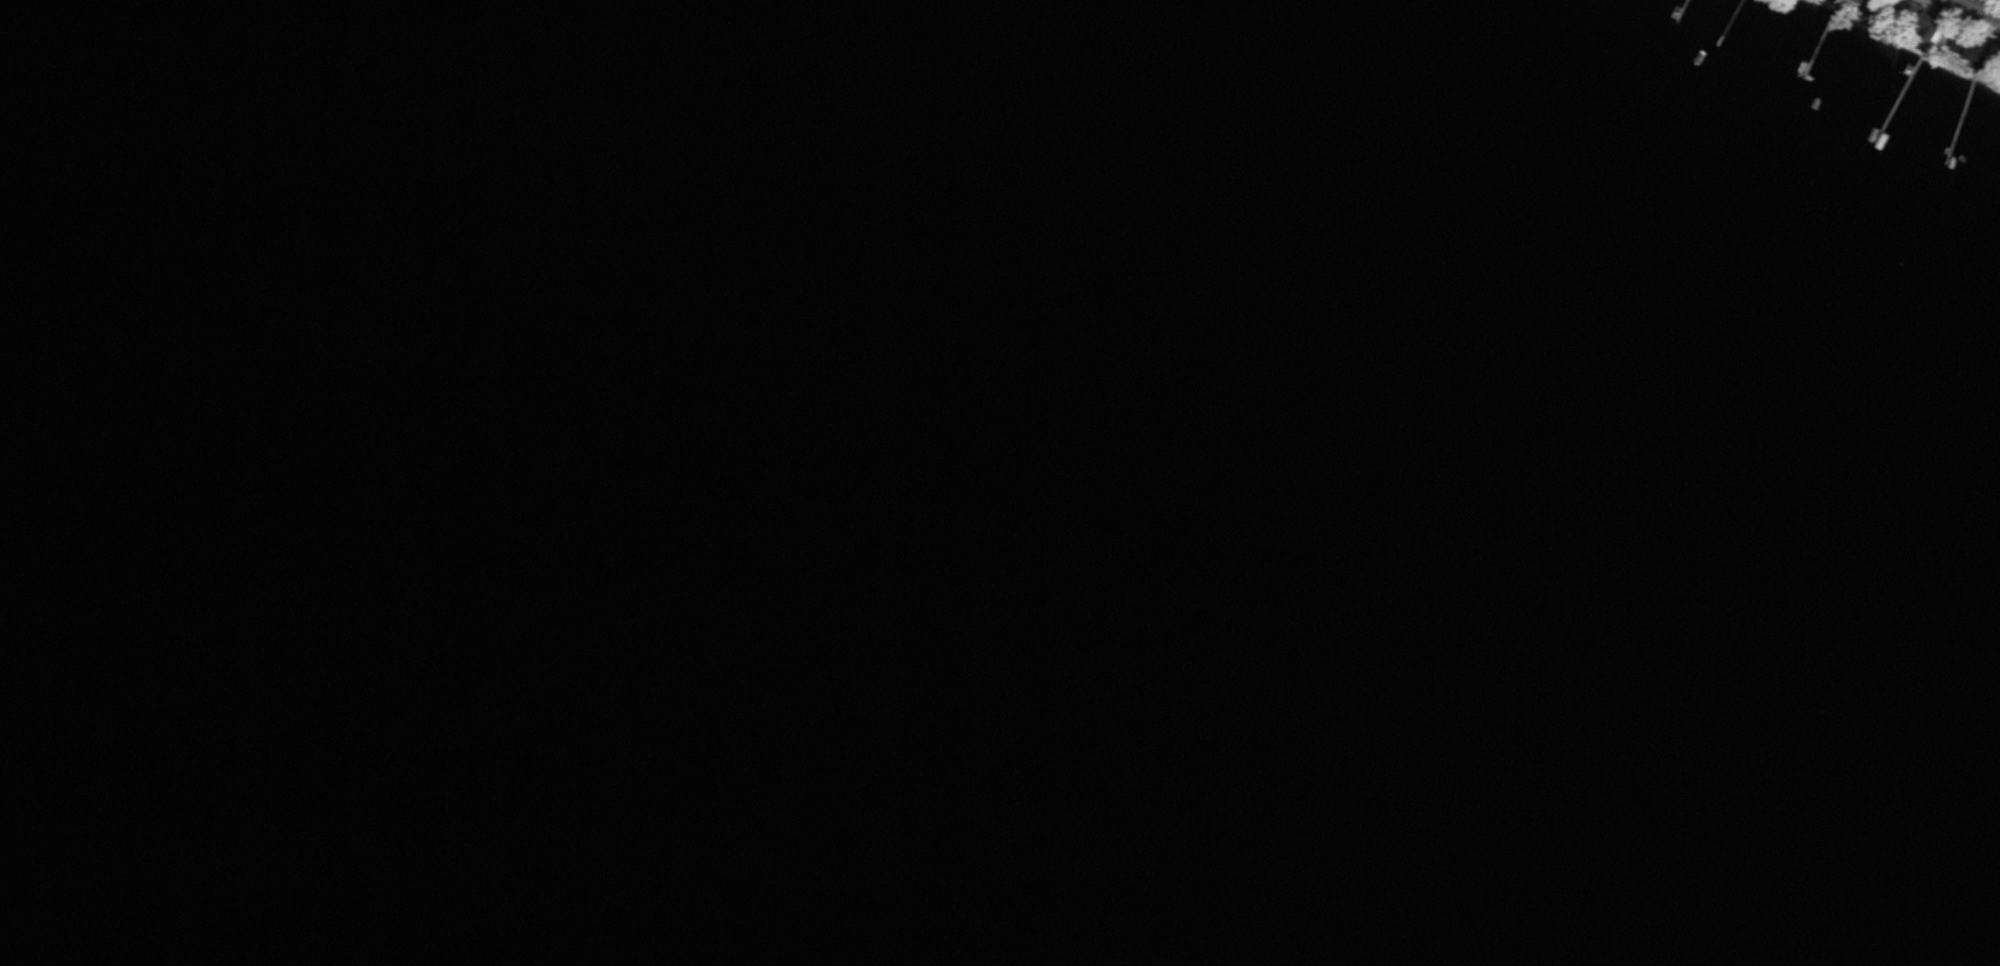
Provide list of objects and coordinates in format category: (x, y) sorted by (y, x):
building: (1854, 1)
road: (1981, 8)

